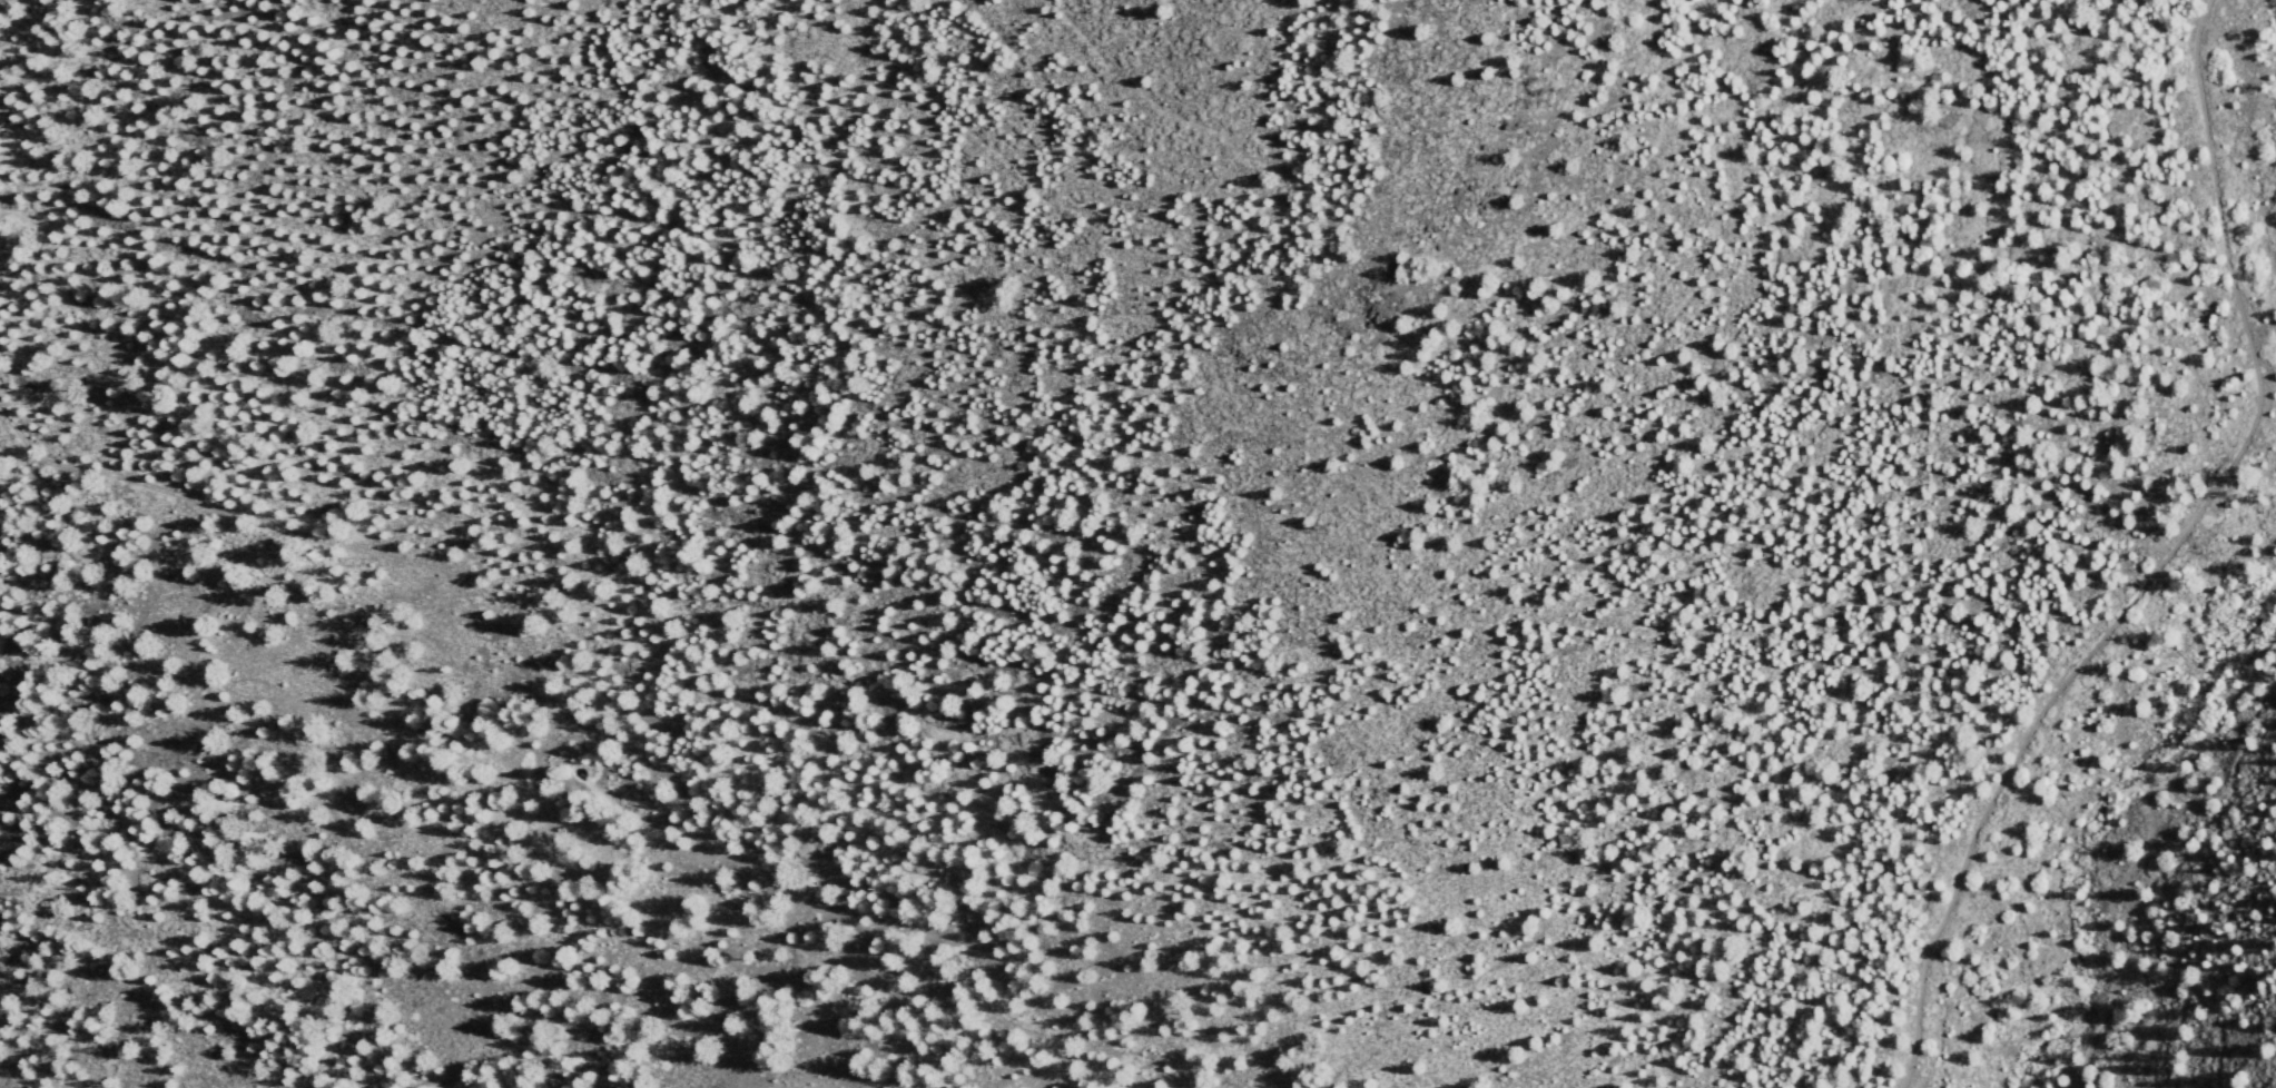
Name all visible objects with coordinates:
road: (2165, 561)

